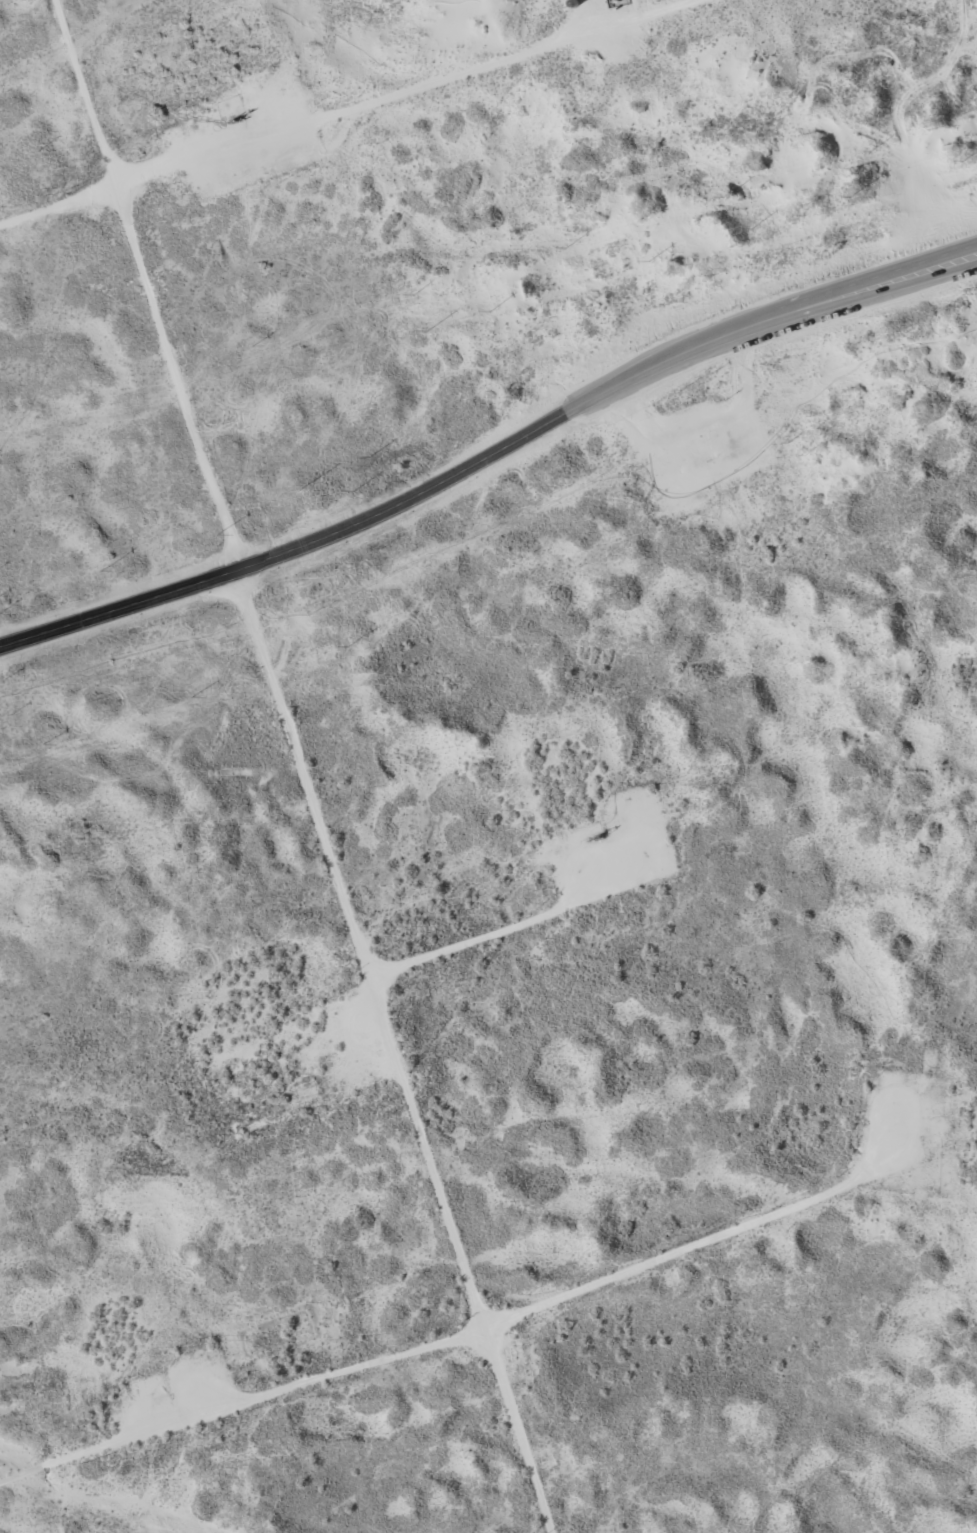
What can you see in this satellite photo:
road: (595, 16)
road: (360, 116)
road: (491, 454)
road: (292, 765)
road: (238, 1429)

